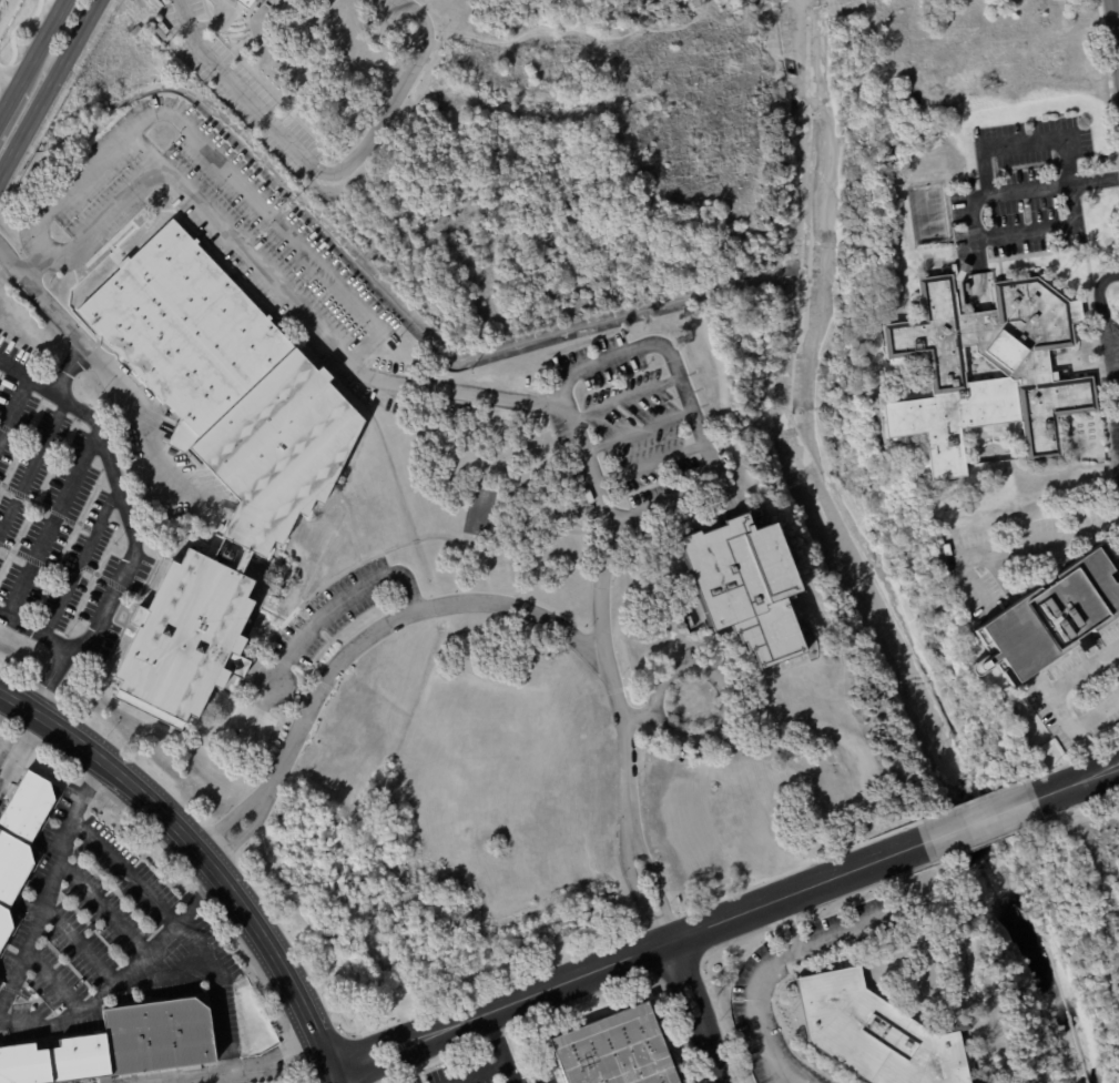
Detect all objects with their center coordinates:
building: (245, 1)
building: (257, 1)
building: (156, 3)
road: (3, 7)
building: (135, 30)
road: (41, 43)
road: (8, 72)
road: (50, 92)
road: (8, 102)
park: (511, 140)
road: (1023, 142)
road: (322, 170)
building: (898, 178)
road: (1093, 178)
road: (1029, 186)
road: (1015, 233)
building: (933, 235)
road: (1106, 325)
road: (71, 331)
road: (669, 348)
building: (1025, 371)
road: (29, 372)
building: (230, 383)
road: (623, 396)
road: (507, 398)
road: (637, 431)
road: (663, 499)
road: (129, 529)
road: (1011, 547)
building: (947, 549)
building: (242, 561)
building: (747, 586)
road: (327, 609)
building: (1051, 617)
road: (38, 634)
building: (185, 639)
road: (360, 642)
building: (979, 666)
road: (1055, 698)
road: (4, 702)
road: (1096, 713)
road: (18, 749)
road: (1106, 763)
road: (1106, 776)
road: (1062, 788)
road: (981, 821)
building: (19, 841)
road: (199, 852)
road: (842, 929)
road: (794, 950)
road: (631, 952)
road: (218, 989)
road: (752, 1000)
road: (695, 1011)
road: (2, 1015)
building: (876, 1033)
building: (157, 1039)
road: (498, 1047)
building: (616, 1050)
building: (58, 1063)
road: (243, 1069)
road: (477, 1073)
road: (776, 1074)
road: (789, 1074)
road: (336, 1076)

